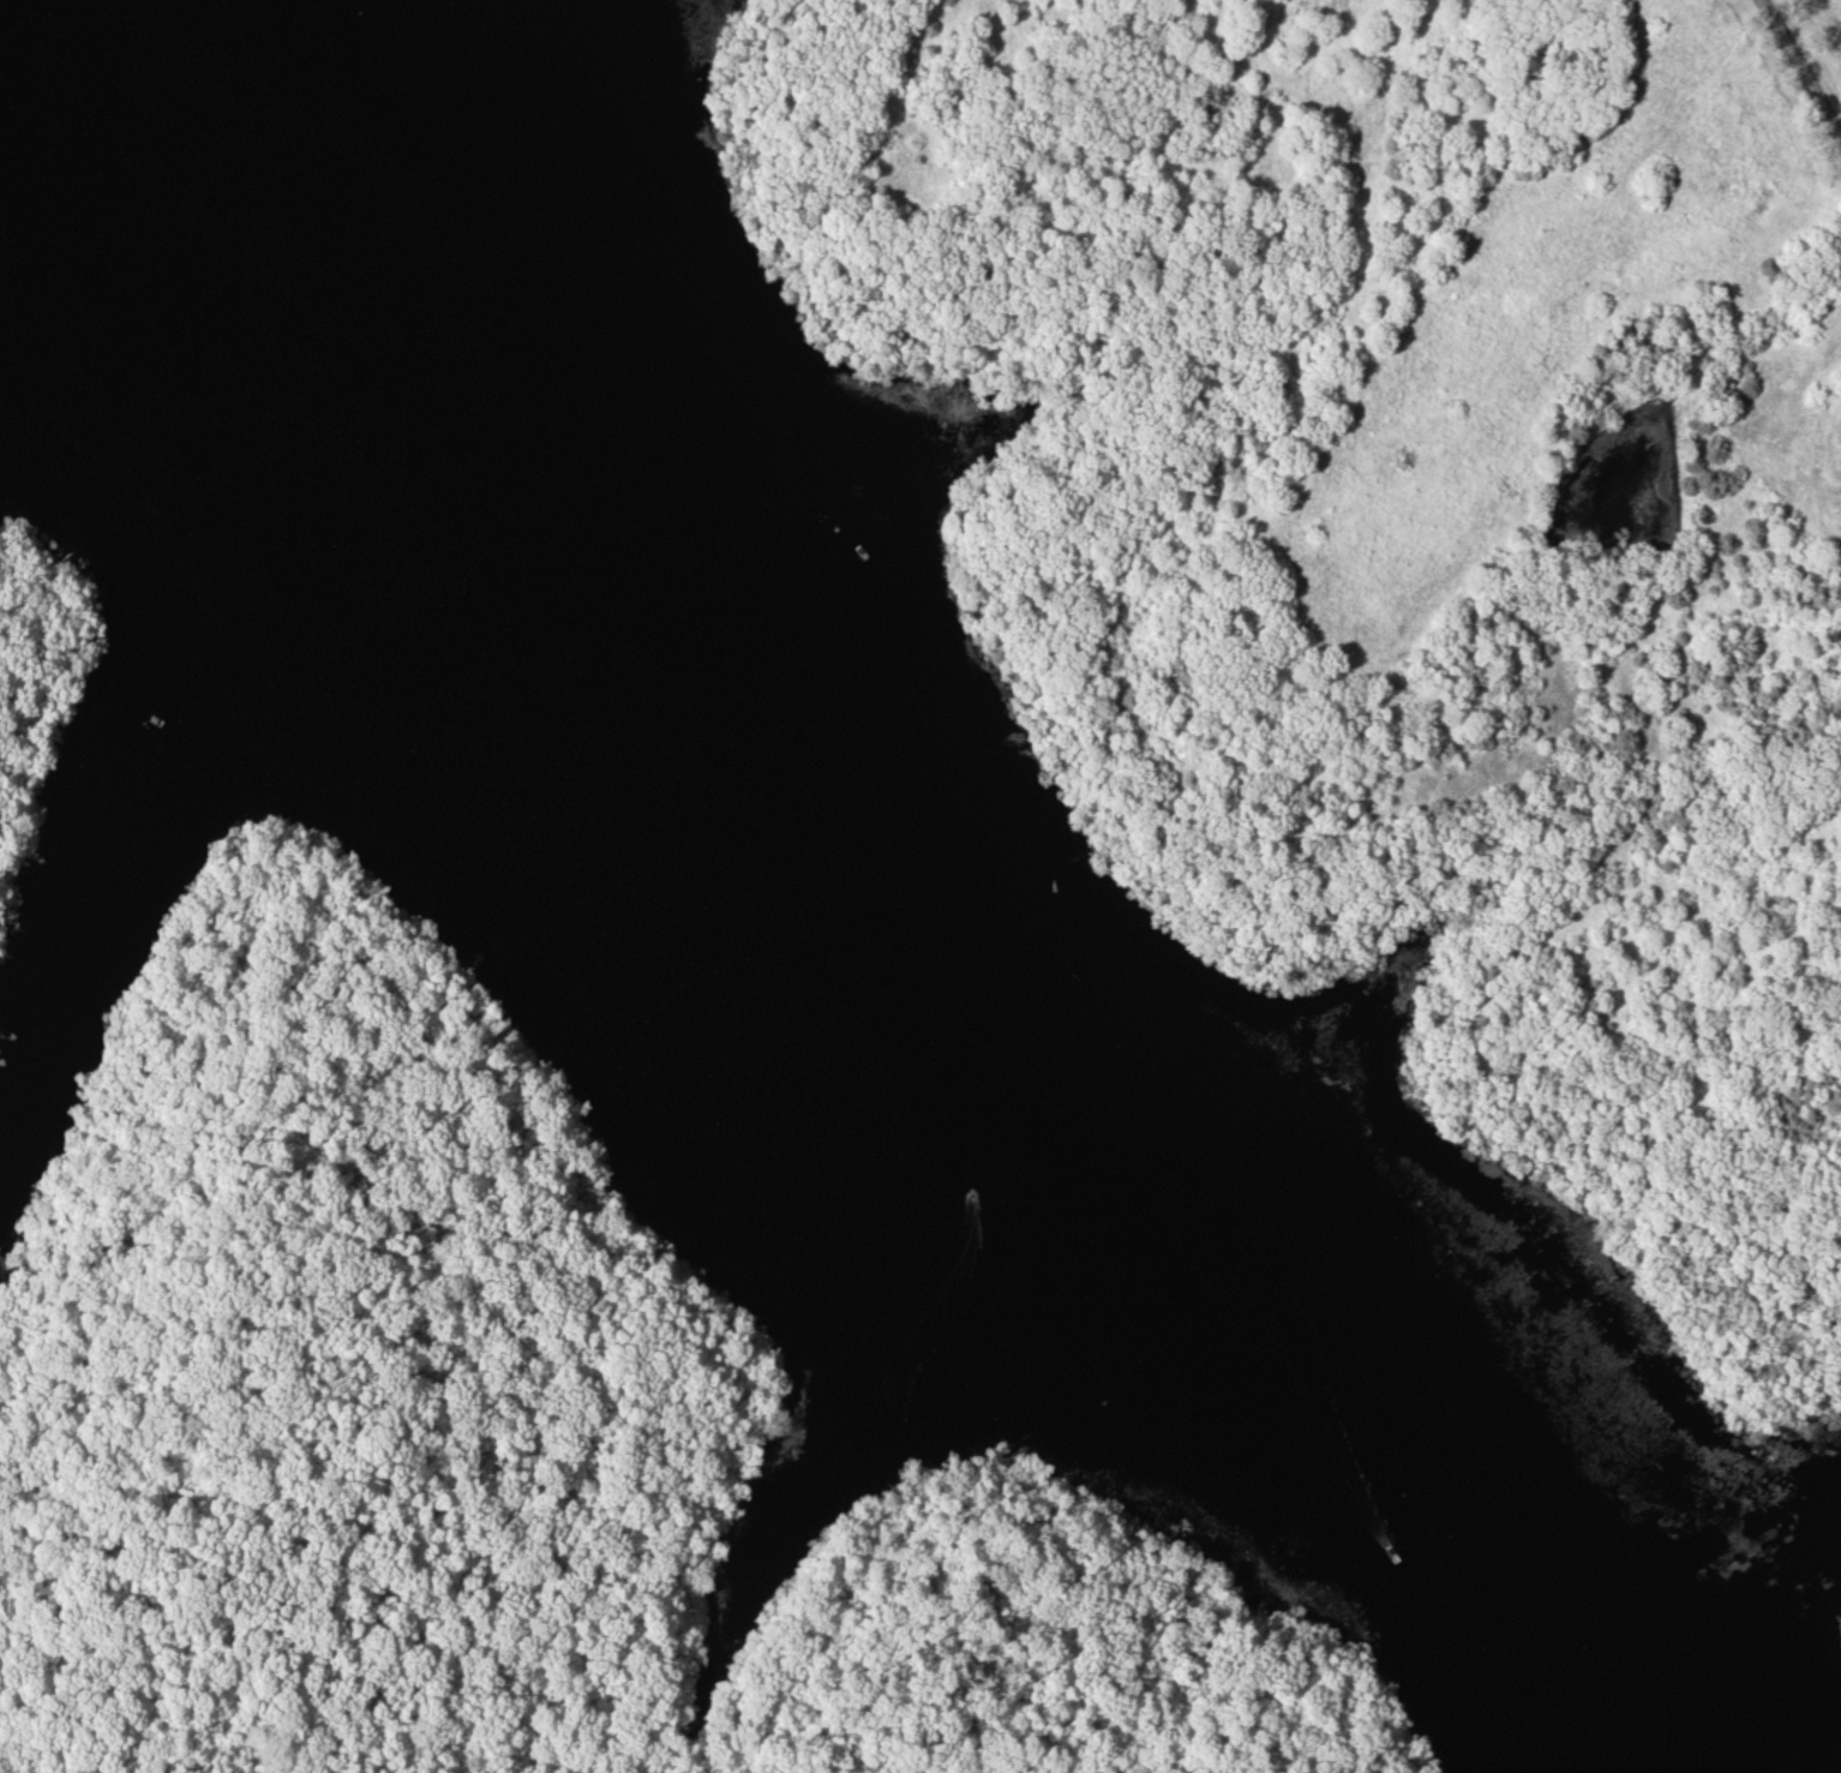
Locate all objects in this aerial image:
park: (1813, 47)
road: (1801, 72)
park: (920, 886)
road: (413, 1217)
road: (1042, 1593)

